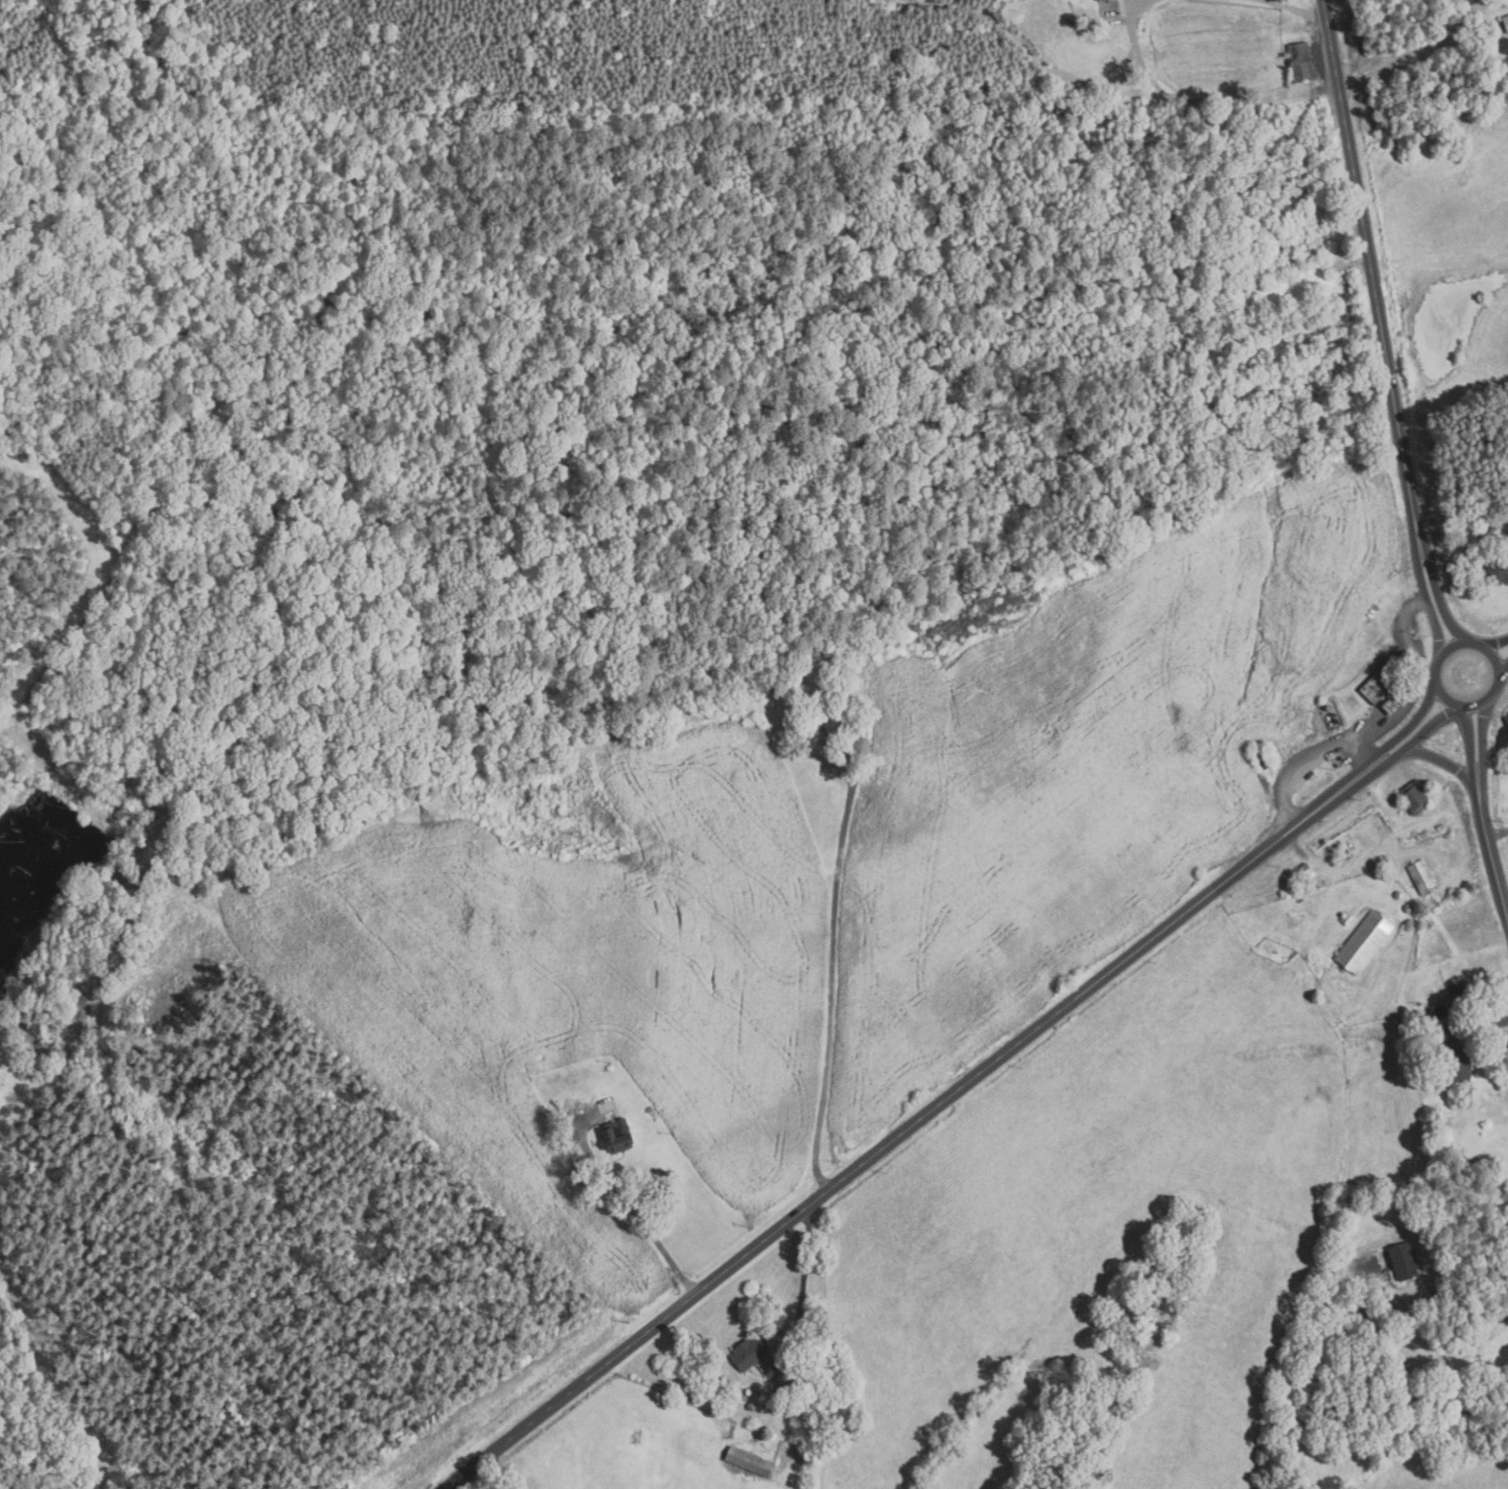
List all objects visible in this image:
building: (1099, 0)
road: (1469, 8)
road: (1487, 8)
road: (1297, 9)
building: (1505, 23)
road: (1405, 59)
building: (1299, 63)
road: (1374, 281)
building: (1505, 520)
building: (1483, 534)
building: (1498, 572)
road: (1439, 607)
road: (1434, 610)
road: (1497, 648)
road: (1502, 662)
road: (1436, 664)
building: (1378, 684)
building: (1389, 707)
building: (1506, 717)
building: (753, 723)
road: (1419, 723)
building: (827, 724)
road: (1375, 730)
road: (1423, 730)
road: (1478, 732)
road: (1473, 735)
road: (1440, 757)
building: (1261, 760)
building: (1412, 798)
river: (576, 815)
road: (1496, 834)
road: (1487, 849)
building: (1304, 871)
building: (1422, 878)
building: (1398, 896)
silo: (1398, 896)
road: (1504, 901)
building: (1407, 910)
silo: (1407, 910)
building: (1346, 920)
building: (1363, 943)
road: (832, 961)
road: (1488, 1025)
building: (1453, 1056)
building: (611, 1068)
road: (920, 1122)
building: (620, 1136)
road: (635, 1214)
building: (1401, 1261)
road: (1427, 1295)
road: (802, 1298)
building: (752, 1352)
building: (738, 1433)
building: (752, 1462)

